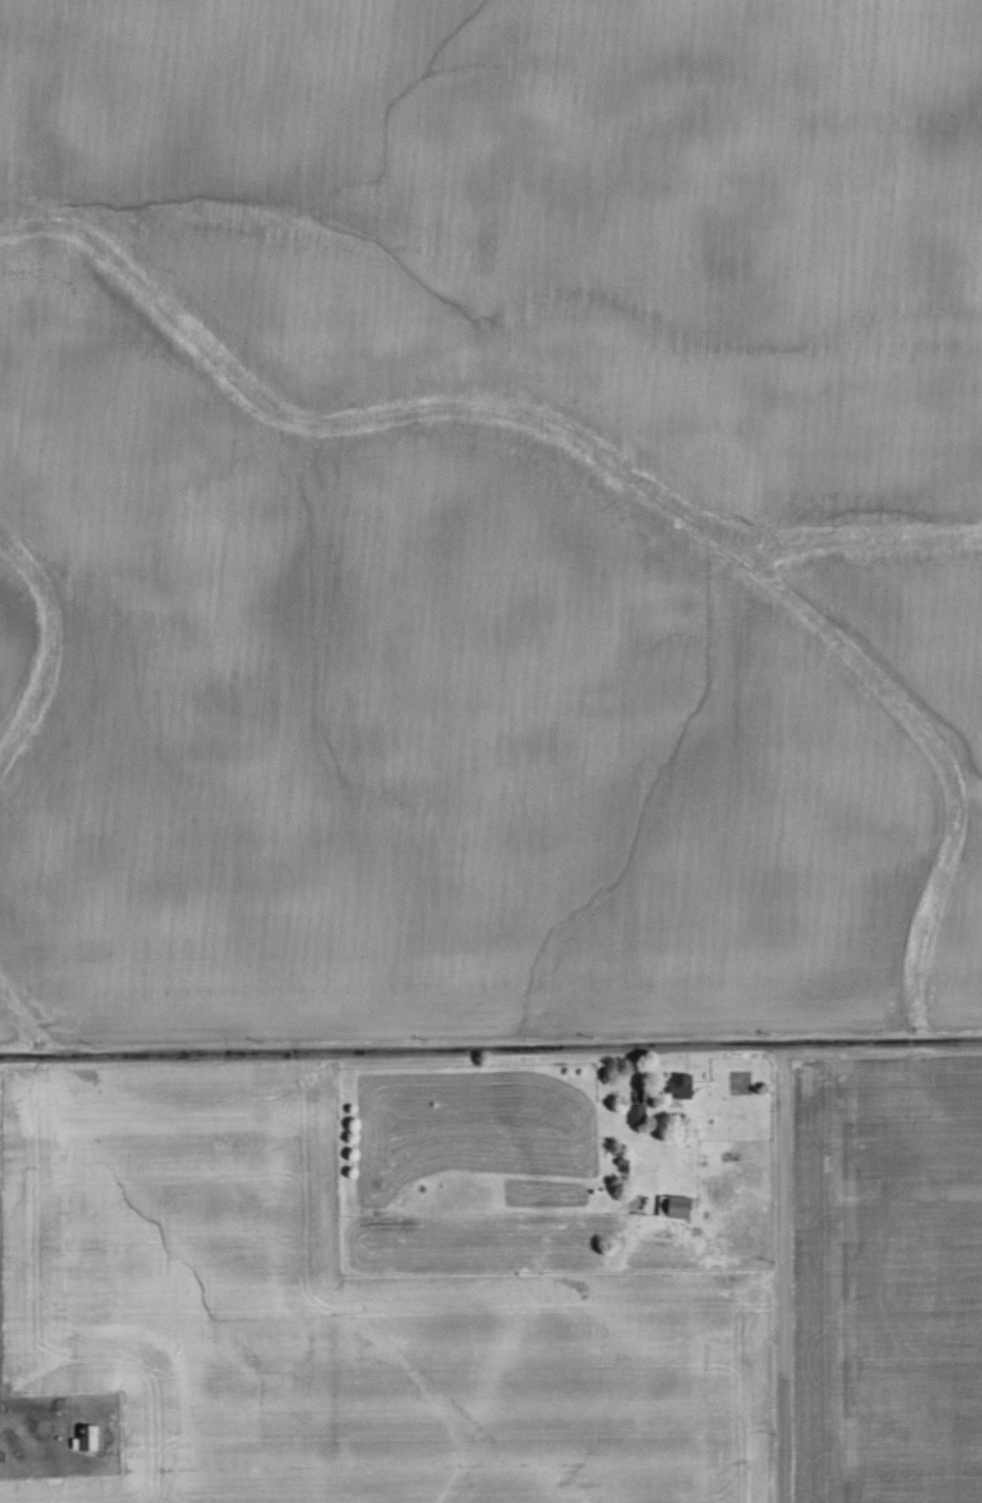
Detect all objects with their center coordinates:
road: (491, 1047)
building: (682, 1086)
building: (640, 1115)
building: (669, 1205)
road: (787, 1273)
building: (92, 1439)

